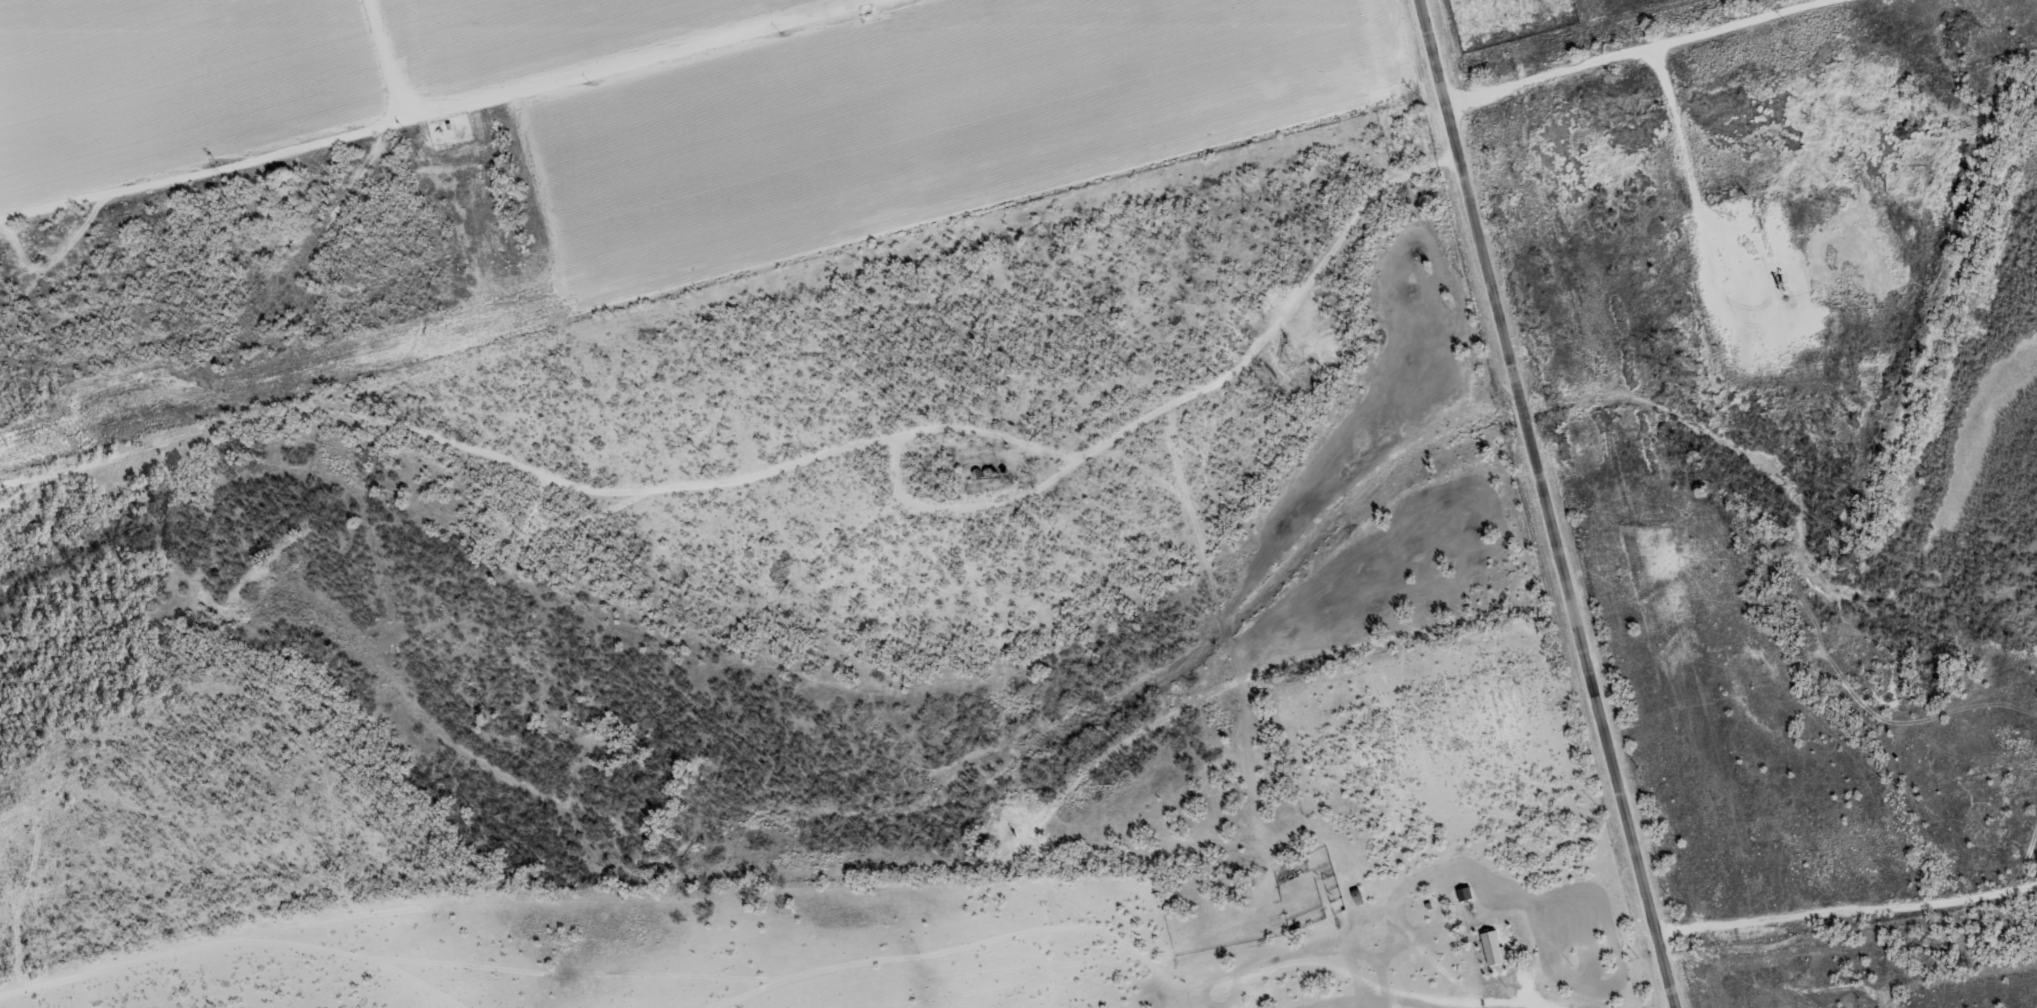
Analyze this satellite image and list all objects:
road: (1547, 504)
building: (1357, 897)
building: (1493, 948)

